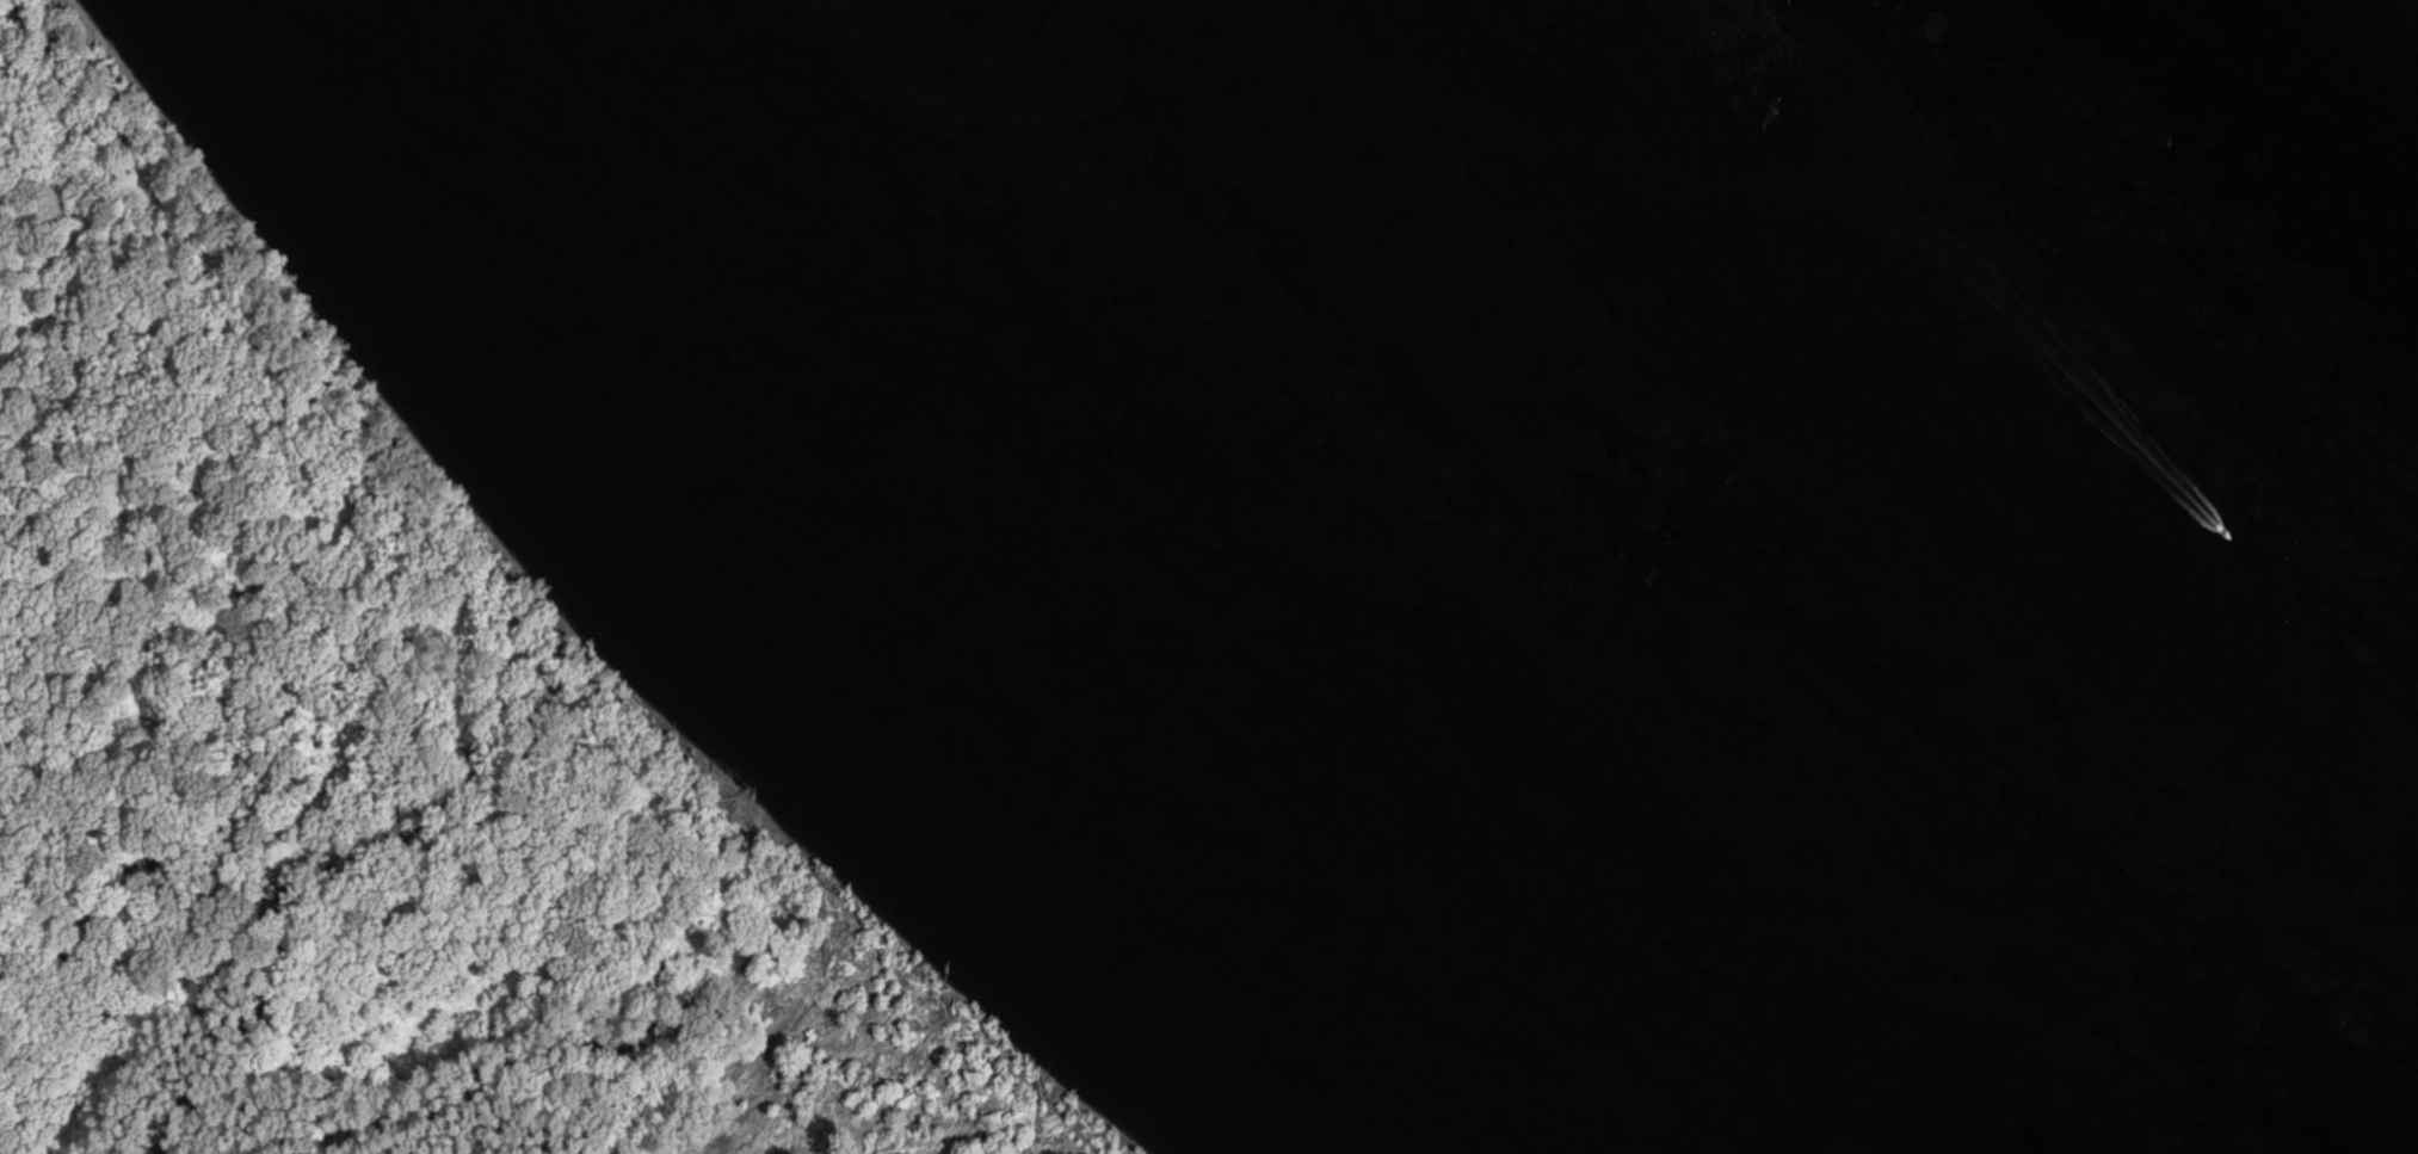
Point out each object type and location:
river: (1889, 498)

